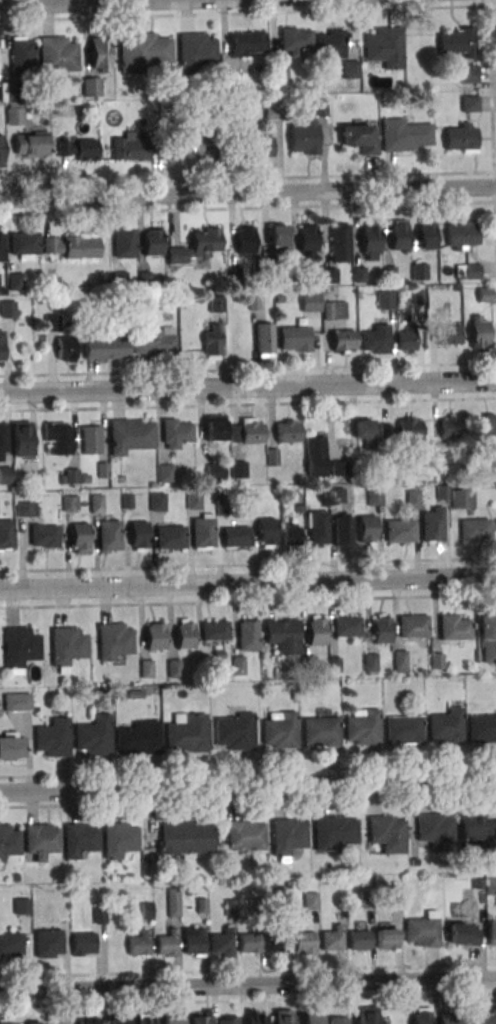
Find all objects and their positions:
road: (105, 3)
road: (488, 3)
road: (492, 5)
road: (243, 13)
building: (295, 40)
building: (247, 43)
building: (457, 43)
building: (330, 46)
building: (385, 46)
building: (143, 50)
building: (196, 51)
building: (21, 54)
building: (58, 54)
building: (99, 54)
building: (350, 70)
building: (281, 72)
building: (468, 73)
building: (232, 81)
building: (91, 86)
building: (185, 89)
building: (16, 90)
building: (468, 103)
building: (321, 109)
building: (71, 111)
building: (273, 111)
building: (14, 113)
road: (492, 130)
building: (404, 135)
building: (305, 137)
building: (358, 137)
building: (460, 137)
building: (31, 143)
building: (195, 144)
building: (258, 147)
building: (135, 148)
building: (1, 149)
building: (78, 150)
road: (247, 178)
road: (248, 193)
road: (247, 208)
building: (398, 234)
building: (426, 234)
building: (276, 235)
building: (461, 235)
building: (306, 238)
building: (245, 239)
building: (152, 242)
building: (124, 243)
building: (370, 243)
building: (24, 244)
building: (72, 245)
building: (195, 245)
building: (340, 245)
building: (2, 246)
building: (296, 264)
building: (269, 270)
building: (418, 270)
building: (467, 270)
building: (390, 274)
building: (358, 275)
building: (234, 277)
building: (329, 277)
building: (144, 280)
building: (15, 281)
building: (120, 281)
building: (457, 289)
building: (337, 296)
building: (485, 296)
building: (418, 298)
building: (279, 299)
building: (385, 299)
building: (310, 301)
building: (216, 304)
building: (254, 304)
building: (8, 309)
building: (334, 310)
building: (51, 322)
building: (479, 331)
building: (448, 334)
building: (294, 338)
building: (375, 338)
building: (264, 340)
building: (343, 340)
building: (407, 340)
building: (153, 341)
building: (211, 341)
building: (1, 347)
building: (105, 347)
building: (66, 349)
road: (248, 369)
road: (248, 384)
road: (248, 405)
building: (214, 428)
building: (451, 429)
building: (246, 430)
building: (483, 430)
building: (401, 431)
building: (130, 434)
building: (288, 434)
building: (176, 435)
building: (364, 435)
building: (58, 437)
building: (22, 439)
building: (91, 439)
building: (3, 441)
building: (315, 455)
building: (272, 458)
building: (482, 466)
building: (339, 469)
building: (239, 470)
building: (102, 471)
building: (214, 471)
building: (165, 472)
building: (6, 475)
building: (71, 477)
building: (62, 480)
building: (85, 480)
building: (274, 489)
building: (443, 492)
building: (336, 496)
building: (374, 496)
building: (412, 498)
building: (461, 498)
building: (192, 500)
building: (156, 501)
building: (70, 502)
building: (96, 502)
building: (127, 502)
building: (26, 508)
building: (221, 508)
building: (298, 510)
building: (431, 524)
building: (317, 528)
building: (366, 528)
building: (476, 528)
building: (342, 529)
building: (398, 530)
building: (202, 531)
building: (266, 531)
building: (7, 534)
building: (290, 534)
building: (43, 535)
building: (109, 535)
building: (138, 535)
building: (170, 536)
building: (235, 536)
building: (79, 537)
road: (248, 564)
road: (248, 584)
road: (248, 601)
building: (412, 625)
building: (346, 626)
building: (380, 628)
building: (214, 630)
building: (453, 630)
building: (316, 632)
building: (184, 633)
building: (247, 634)
building: (154, 635)
building: (282, 635)
building: (487, 637)
building: (113, 639)
building: (65, 646)
building: (19, 647)
building: (369, 661)
building: (437, 662)
building: (400, 663)
building: (308, 665)
building: (335, 666)
building: (238, 667)
building: (146, 670)
building: (174, 670)
building: (276, 675)
building: (135, 695)
building: (294, 697)
building: (17, 701)
building: (447, 727)
building: (403, 728)
building: (482, 728)
building: (320, 730)
building: (364, 730)
building: (235, 732)
building: (281, 732)
building: (188, 735)
building: (93, 738)
building: (53, 739)
building: (140, 739)
building: (12, 746)
road: (248, 770)
road: (248, 785)
road: (248, 800)
building: (476, 831)
building: (246, 834)
building: (334, 834)
building: (435, 834)
building: (387, 835)
building: (184, 837)
building: (288, 837)
building: (119, 838)
building: (41, 839)
building: (79, 839)
building: (9, 844)
building: (414, 863)
building: (16, 878)
building: (477, 885)
building: (491, 886)
building: (283, 898)
building: (310, 900)
building: (395, 900)
building: (366, 901)
building: (173, 902)
building: (21, 905)
building: (201, 906)
building: (256, 906)
building: (230, 907)
building: (147, 912)
building: (100, 917)
building: (422, 930)
building: (492, 931)
building: (464, 936)
building: (387, 940)
building: (333, 941)
building: (360, 941)
building: (49, 942)
building: (11, 943)
building: (83, 943)
building: (194, 943)
building: (223, 944)
building: (249, 944)
building: (277, 944)
building: (305, 944)
building: (140, 945)
building: (167, 945)
road: (248, 970)
road: (248, 984)
road: (248, 1000)
building: (367, 1015)
building: (421, 1015)
building: (283, 1016)
building: (255, 1017)
building: (201, 1018)
building: (310, 1018)
building: (145, 1019)
building: (171, 1019)
building: (227, 1019)
building: (338, 1019)
building: (448, 1019)
building: (485, 1019)
building: (7, 1021)
building: (36, 1022)
building: (88, 1022)
building: (118, 1023)

